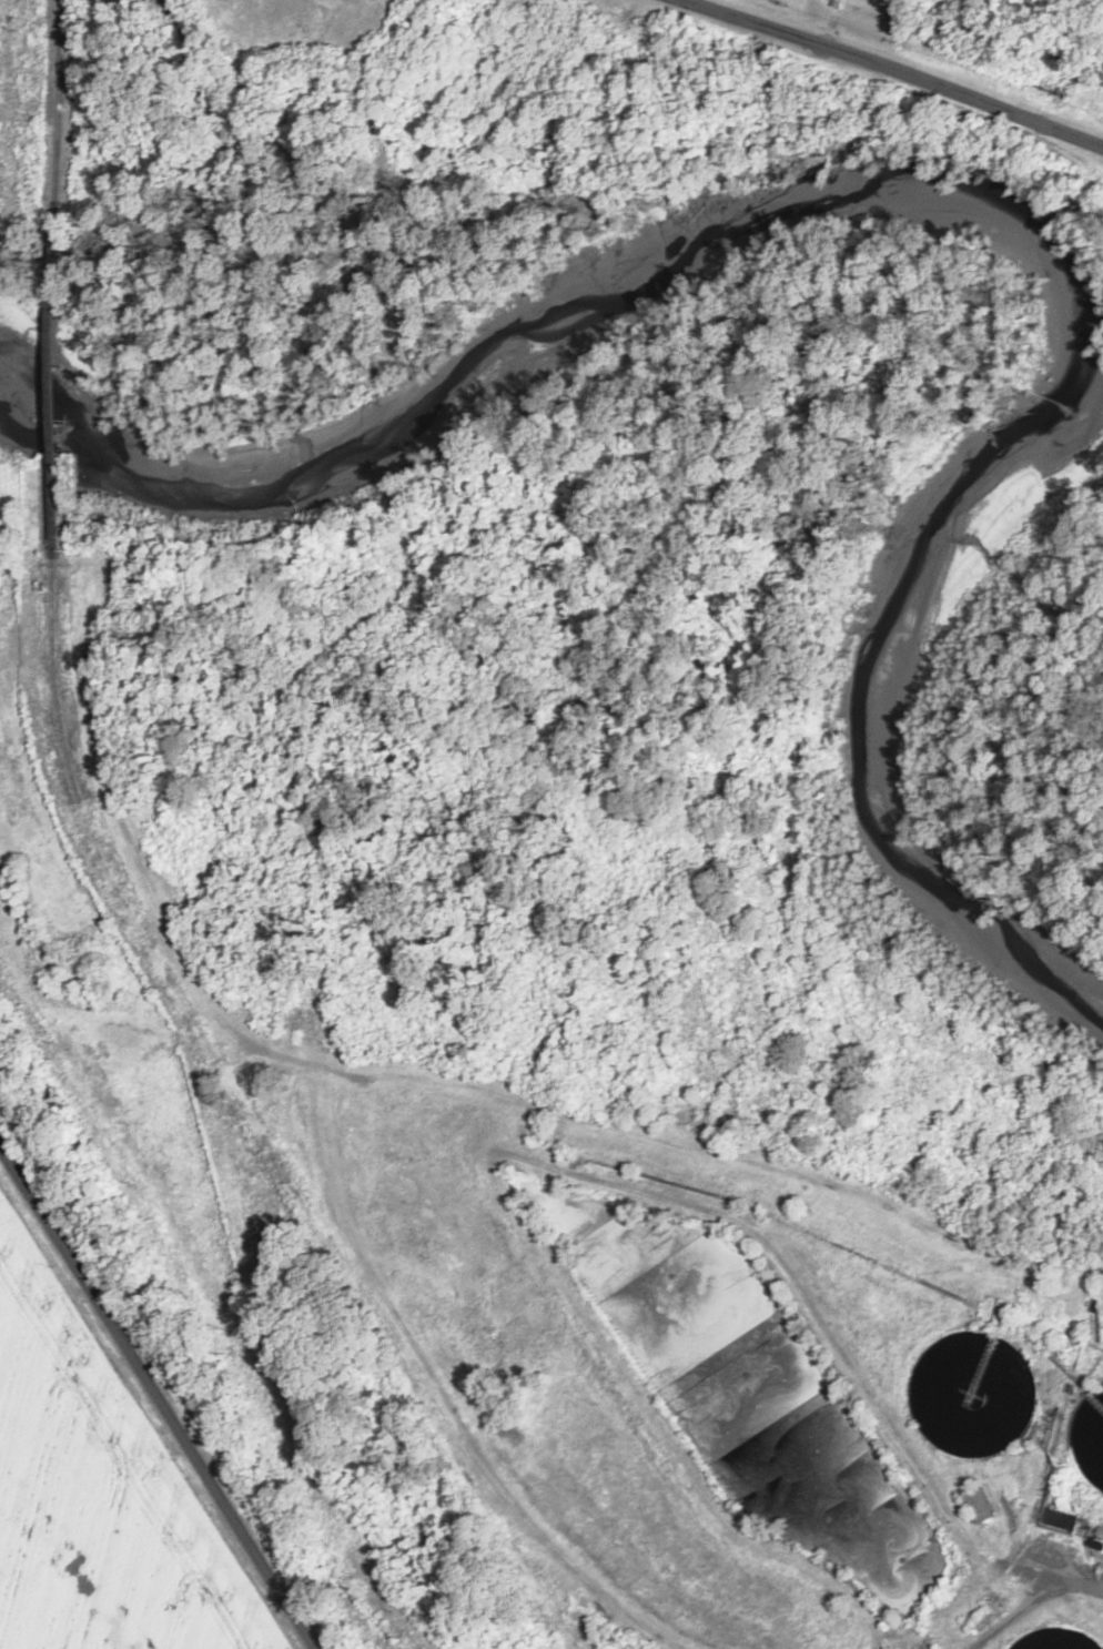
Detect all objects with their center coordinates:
railway: (58, 30)
road: (895, 68)
railway: (60, 100)
river: (938, 192)
railway: (57, 381)
road: (617, 866)
railway: (256, 1124)
road: (156, 1404)
building: (1095, 1406)
building: (980, 1504)
building: (1064, 1519)
building: (985, 1613)

